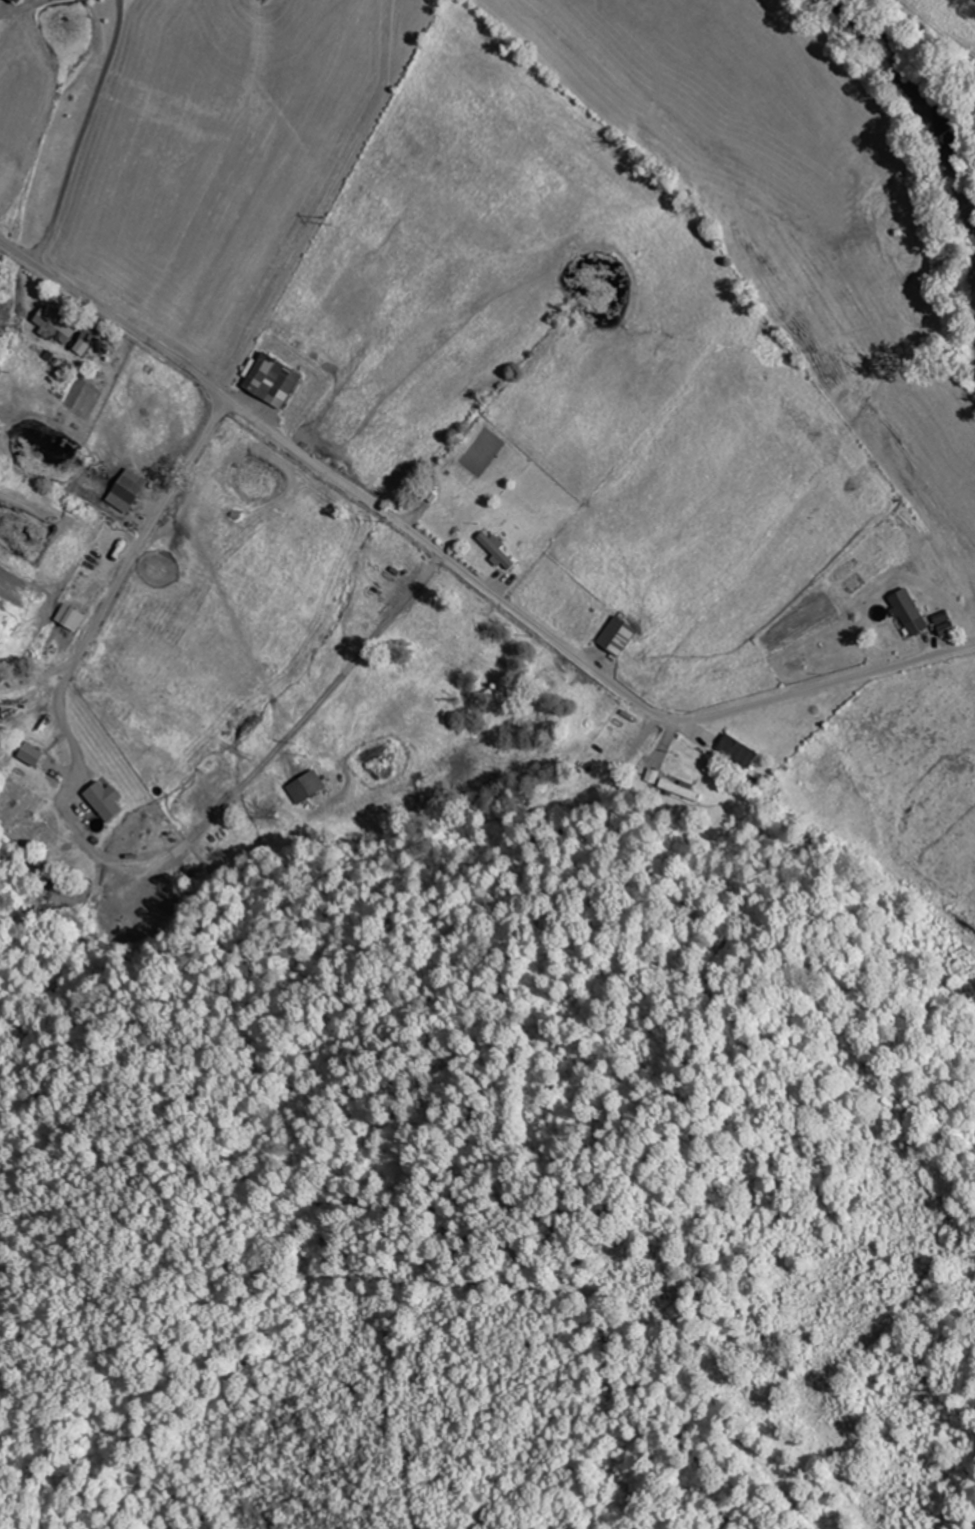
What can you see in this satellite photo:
building: (21, 1)
road: (938, 26)
river: (913, 89)
building: (61, 329)
building: (276, 380)
building: (130, 490)
road: (149, 533)
building: (499, 550)
road: (464, 570)
building: (912, 612)
building: (950, 629)
building: (621, 635)
road: (36, 703)
building: (18, 705)
building: (741, 751)
road: (34, 771)
building: (308, 788)
building: (682, 789)
building: (86, 821)
road: (9, 1131)

